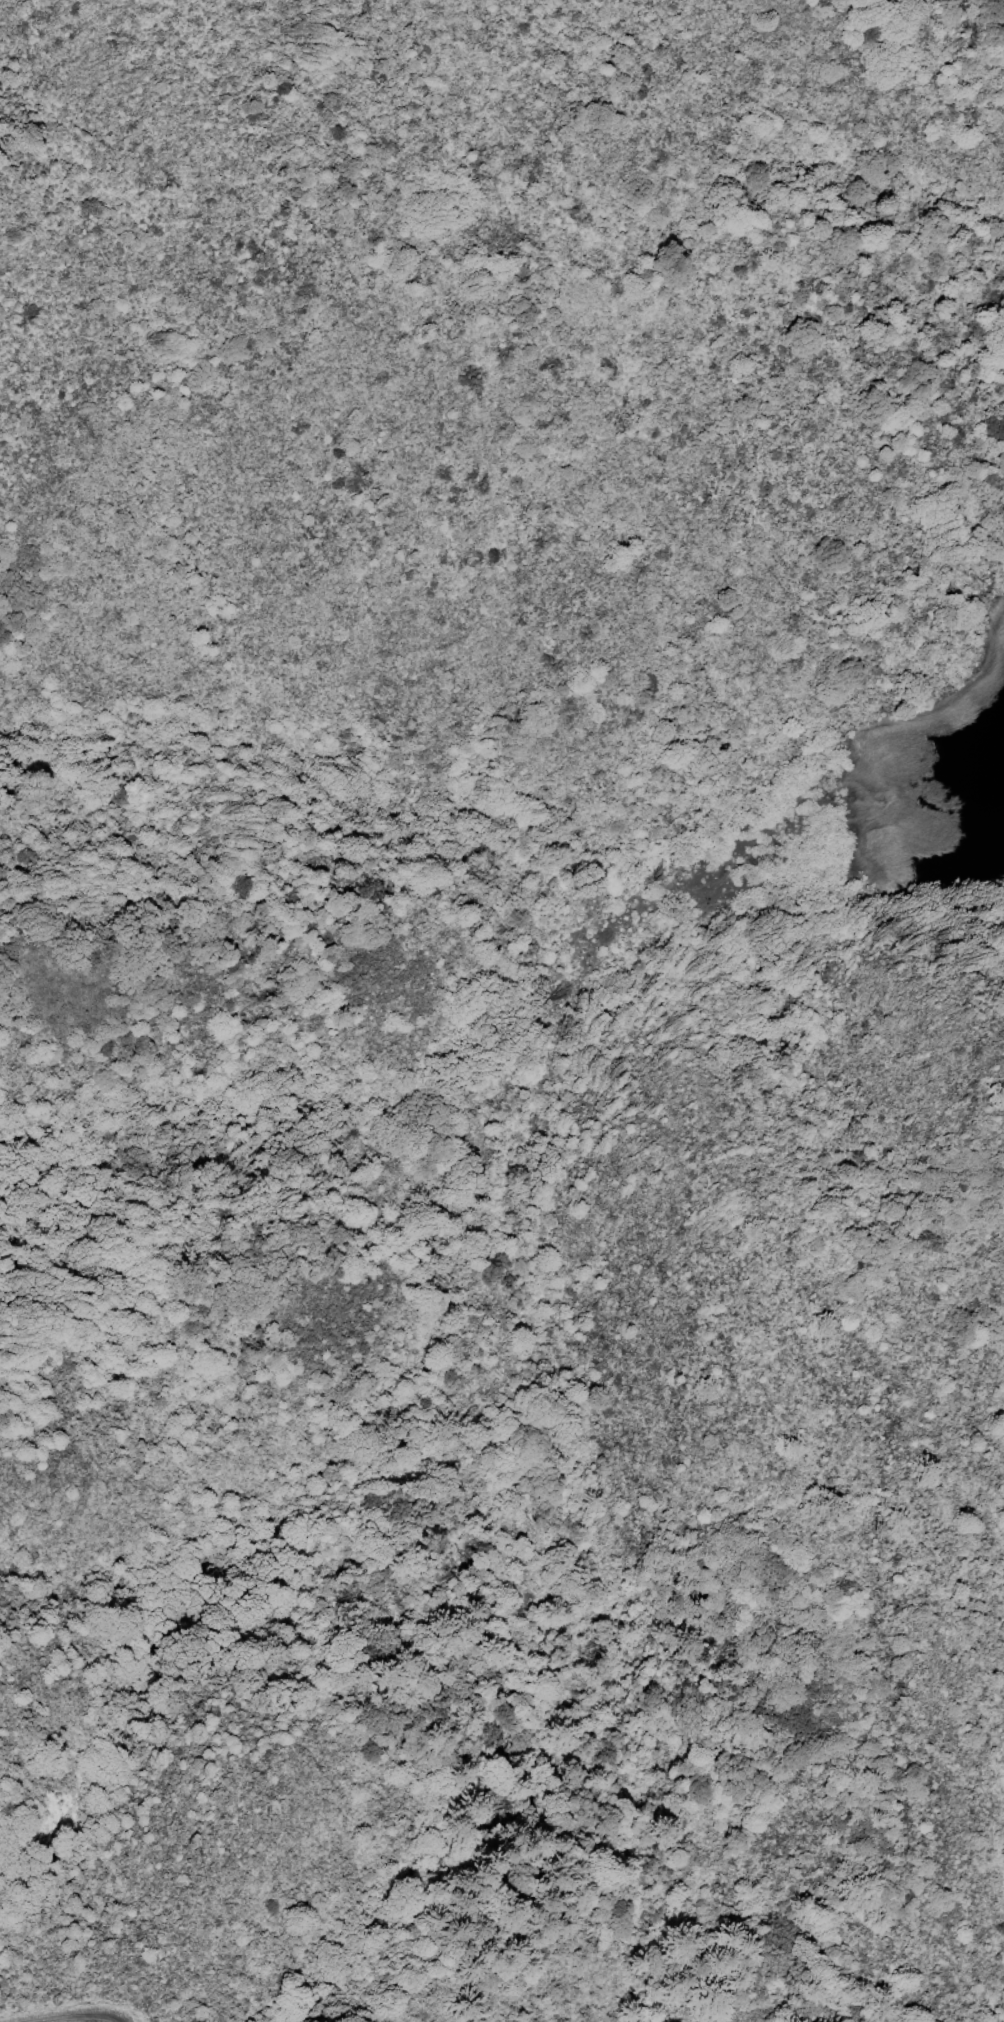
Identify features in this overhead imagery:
road: (74, 2015)

